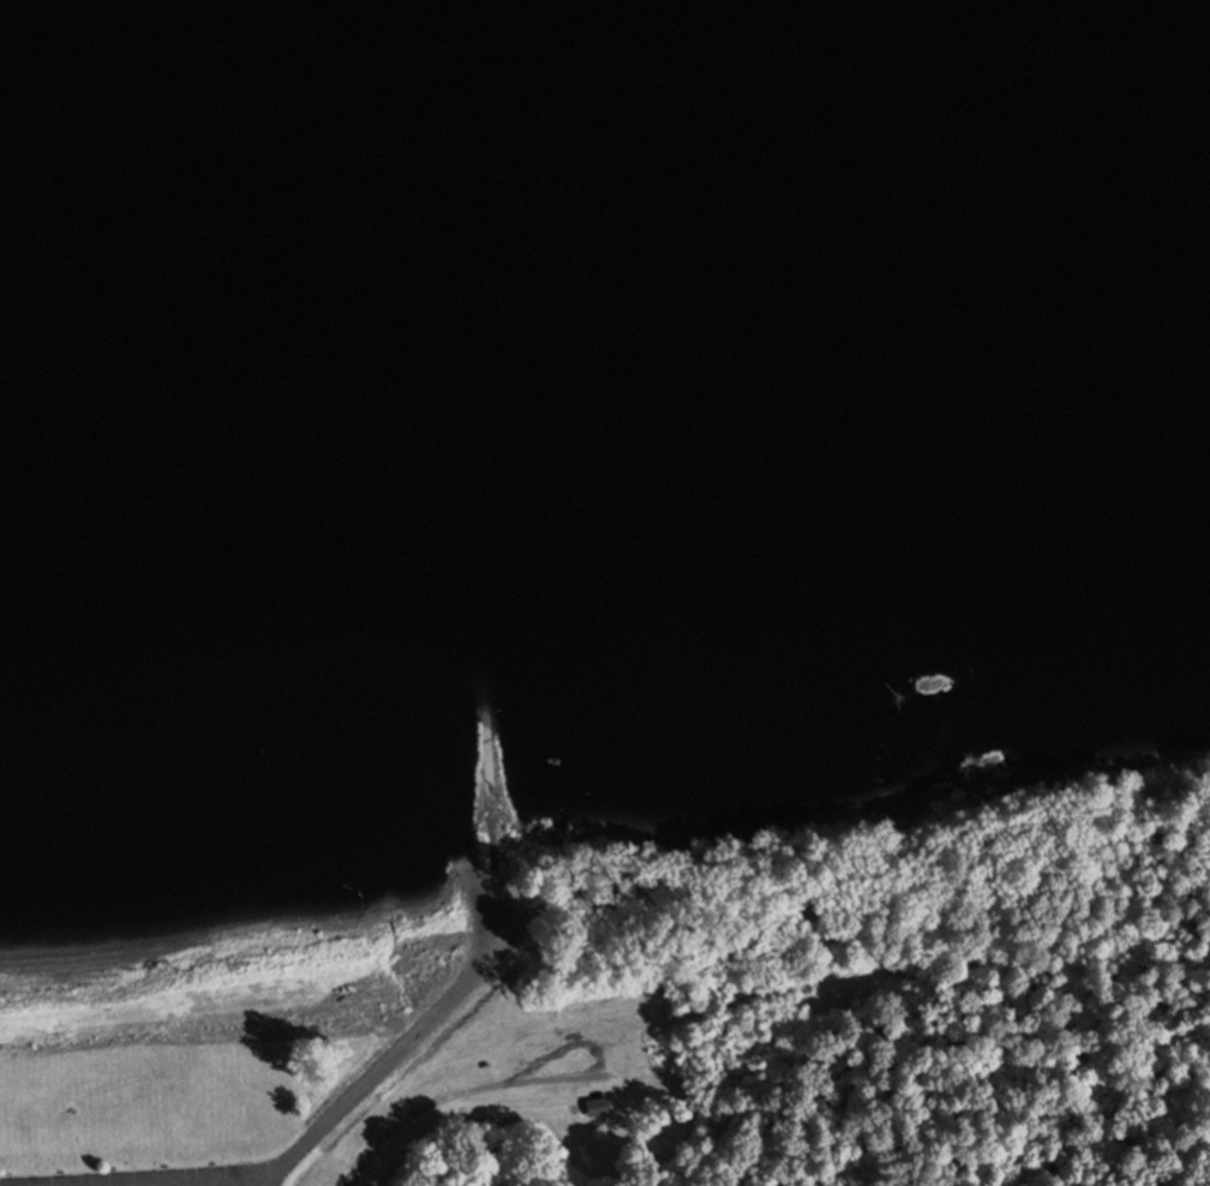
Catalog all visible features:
road: (489, 793)
road: (490, 897)
road: (759, 999)
road: (623, 1035)
park: (660, 1035)
road: (413, 1040)
road: (415, 1112)

